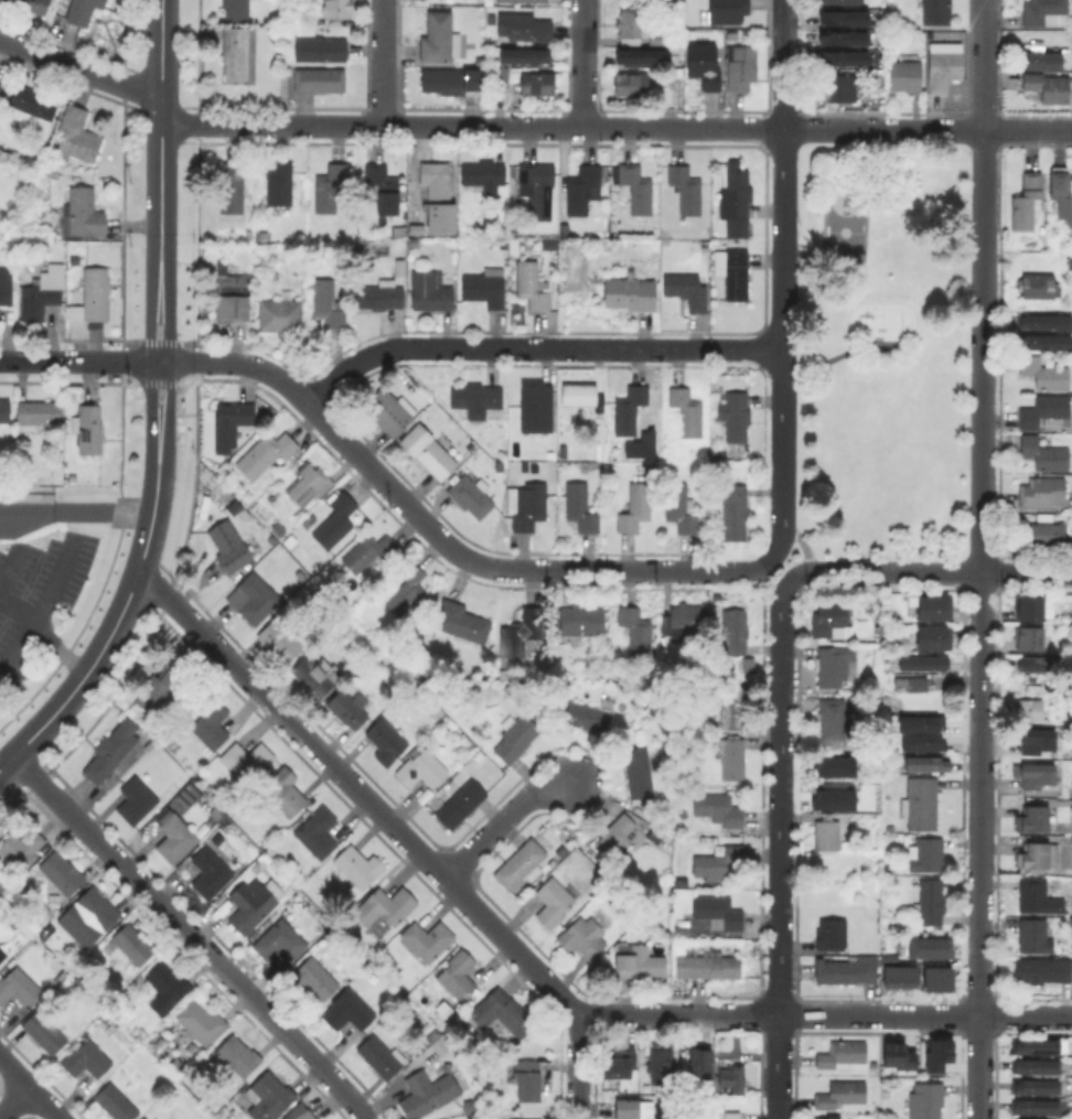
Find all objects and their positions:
building: (522, 0)
building: (678, 0)
building: (843, 2)
building: (30, 6)
building: (236, 9)
building: (337, 9)
building: (729, 10)
building: (82, 11)
building: (939, 12)
building: (1046, 13)
building: (841, 17)
building: (489, 18)
building: (628, 23)
building: (521, 26)
building: (654, 36)
building: (841, 36)
building: (439, 39)
building: (321, 50)
building: (236, 52)
building: (522, 55)
building: (641, 55)
building: (841, 56)
building: (480, 60)
building: (1038, 60)
road: (382, 63)
road: (583, 64)
road: (985, 65)
building: (706, 66)
building: (741, 67)
road: (79, 69)
building: (288, 69)
building: (944, 71)
building: (499, 75)
building: (905, 76)
building: (450, 80)
building: (1, 82)
building: (320, 82)
building: (537, 85)
building: (631, 85)
building: (835, 87)
building: (1050, 88)
building: (2, 96)
building: (32, 104)
building: (3, 116)
road: (472, 127)
road: (885, 130)
road: (1028, 131)
building: (77, 137)
road: (161, 155)
building: (485, 176)
building: (437, 181)
building: (280, 185)
building: (539, 185)
building: (331, 186)
building: (384, 186)
building: (231, 187)
building: (582, 187)
building: (685, 187)
building: (637, 189)
building: (736, 200)
building: (1061, 201)
building: (1027, 203)
building: (85, 213)
building: (444, 218)
road: (783, 228)
park: (848, 232)
building: (414, 243)
building: (369, 247)
building: (6, 257)
building: (1070, 259)
building: (720, 263)
building: (737, 273)
building: (533, 286)
building: (1039, 286)
building: (6, 288)
building: (430, 290)
building: (483, 290)
building: (687, 290)
building: (96, 292)
building: (41, 294)
building: (232, 294)
building: (379, 294)
building: (631, 294)
building: (329, 304)
building: (281, 315)
building: (1043, 322)
road: (151, 335)
road: (171, 335)
road: (161, 342)
building: (1043, 343)
road: (534, 347)
park: (882, 349)
road: (983, 352)
road: (832, 357)
road: (75, 362)
road: (161, 363)
building: (1046, 375)
road: (161, 381)
road: (151, 391)
road: (171, 392)
building: (582, 397)
building: (476, 398)
building: (534, 400)
building: (4, 410)
building: (630, 410)
building: (1044, 411)
building: (390, 412)
building: (688, 412)
building: (37, 416)
building: (736, 417)
building: (234, 422)
building: (644, 429)
building: (89, 430)
road: (335, 435)
building: (269, 449)
building: (427, 451)
building: (1046, 455)
building: (311, 486)
road: (783, 491)
building: (1042, 493)
building: (471, 496)
road: (75, 505)
building: (682, 505)
building: (527, 506)
building: (580, 507)
building: (636, 507)
building: (243, 512)
building: (736, 515)
building: (335, 523)
building: (1047, 535)
road: (803, 544)
road: (778, 545)
building: (233, 548)
building: (369, 552)
road: (10, 563)
road: (591, 570)
road: (738, 570)
road: (896, 571)
road: (1027, 572)
road: (792, 579)
building: (407, 588)
parking lot: (36, 598)
building: (253, 600)
road: (43, 604)
building: (935, 609)
road: (120, 610)
building: (1029, 611)
building: (684, 618)
building: (581, 622)
building: (832, 624)
building: (460, 625)
building: (735, 631)
building: (523, 633)
building: (637, 633)
road: (43, 637)
building: (934, 638)
building: (280, 639)
building: (1029, 641)
building: (924, 665)
building: (1039, 666)
building: (835, 667)
building: (315, 674)
building: (908, 682)
building: (163, 687)
building: (732, 707)
building: (347, 709)
building: (1028, 709)
building: (588, 715)
building: (620, 715)
building: (833, 720)
building: (212, 723)
building: (920, 733)
building: (516, 738)
building: (386, 741)
building: (1039, 742)
building: (112, 749)
building: (731, 760)
building: (246, 762)
building: (832, 765)
building: (928, 765)
building: (421, 770)
building: (641, 773)
building: (1037, 776)
building: (286, 793)
building: (832, 798)
building: (138, 800)
building: (459, 804)
building: (921, 805)
building: (719, 811)
building: (1037, 819)
road: (491, 821)
road: (394, 830)
building: (318, 832)
building: (179, 836)
building: (615, 836)
building: (827, 837)
road: (980, 846)
building: (22, 849)
road: (779, 856)
building: (928, 857)
building: (1039, 858)
building: (720, 863)
building: (522, 865)
building: (212, 867)
building: (357, 867)
building: (64, 871)
building: (292, 889)
building: (1035, 897)
building: (554, 902)
building: (931, 903)
building: (254, 904)
building: (99, 906)
building: (392, 906)
building: (718, 914)
building: (83, 923)
building: (833, 934)
road: (190, 935)
building: (588, 935)
building: (1036, 937)
building: (427, 940)
building: (280, 942)
building: (136, 943)
building: (925, 947)
building: (3, 953)
building: (887, 958)
building: (60, 964)
building: (640, 964)
building: (708, 967)
building: (844, 969)
building: (1042, 972)
building: (63, 976)
building: (457, 976)
building: (898, 976)
building: (935, 978)
building: (314, 979)
building: (19, 986)
building: (169, 986)
building: (349, 1009)
building: (503, 1012)
road: (824, 1014)
building: (204, 1020)
building: (47, 1031)
building: (1036, 1046)
building: (935, 1053)
building: (841, 1054)
building: (896, 1055)
building: (88, 1057)
building: (240, 1057)
building: (379, 1058)
building: (661, 1061)
building: (703, 1061)
building: (621, 1063)
building: (1032, 1064)
building: (731, 1076)
building: (533, 1079)
building: (1035, 1084)
road: (29, 1088)
building: (431, 1090)
road: (11, 1094)
building: (840, 1094)
building: (270, 1098)
building: (120, 1101)
building: (523, 1101)
building: (926, 1101)
building: (1036, 1106)
building: (626, 1109)
building: (730, 1115)
building: (305, 1116)
building: (826, 1116)
building: (143, 1117)
building: (148, 1118)
building: (158, 1118)
building: (532, 1118)
building: (1022, 1118)

